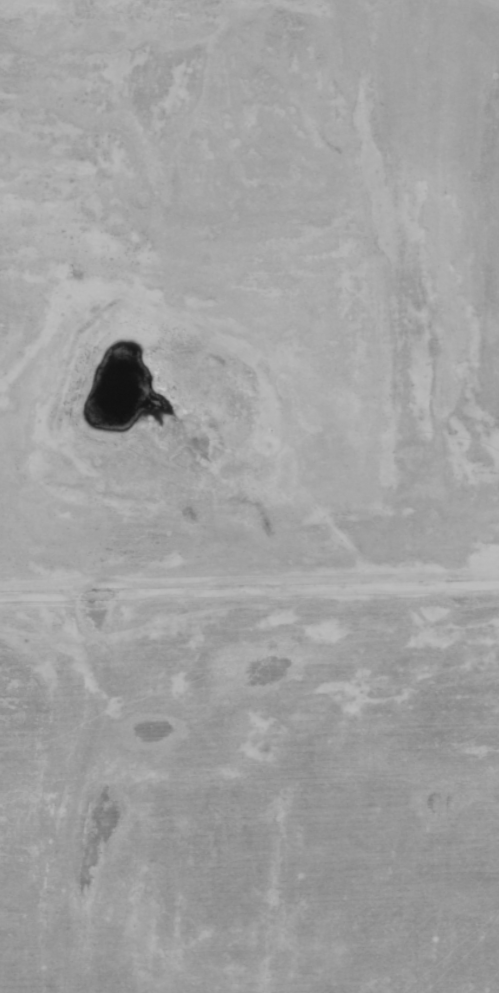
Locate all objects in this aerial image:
road: (367, 289)
road: (330, 627)

